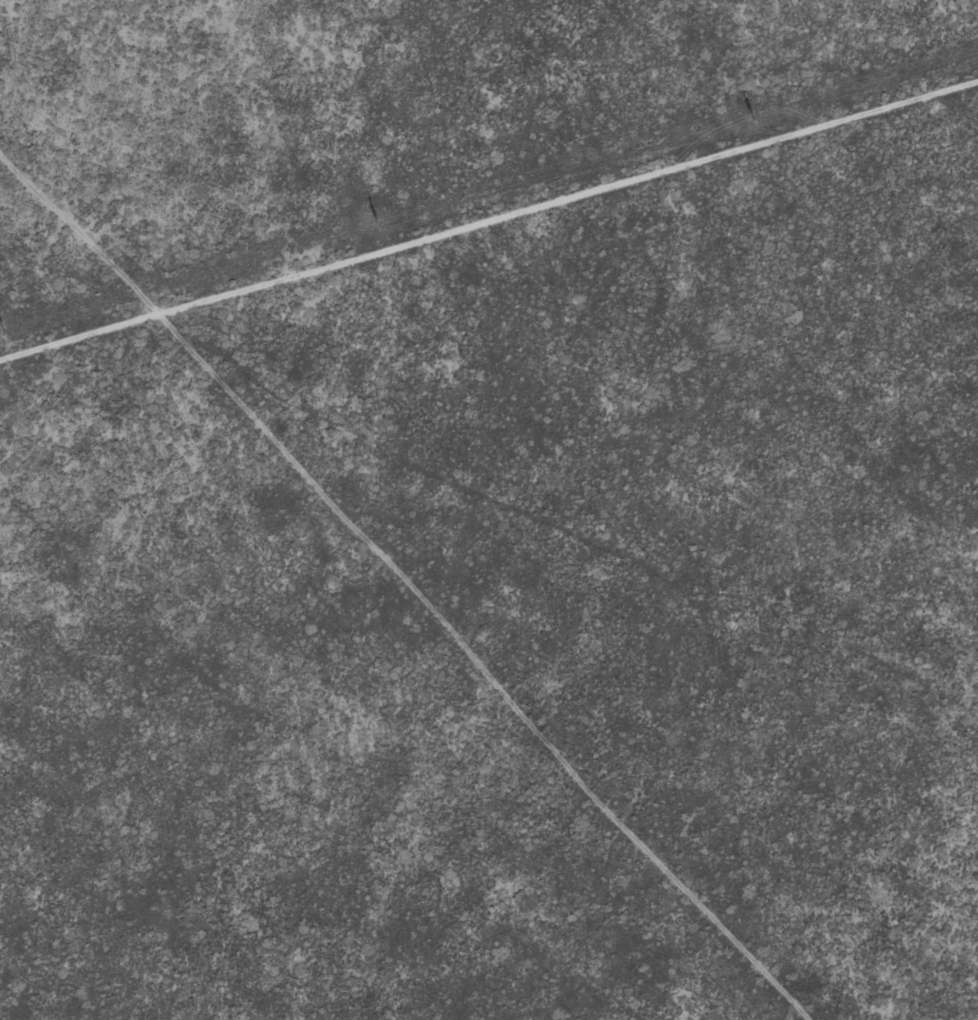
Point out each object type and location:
road: (846, 60)
power tower: (750, 116)
power tower: (374, 223)
power tower: (0, 330)

